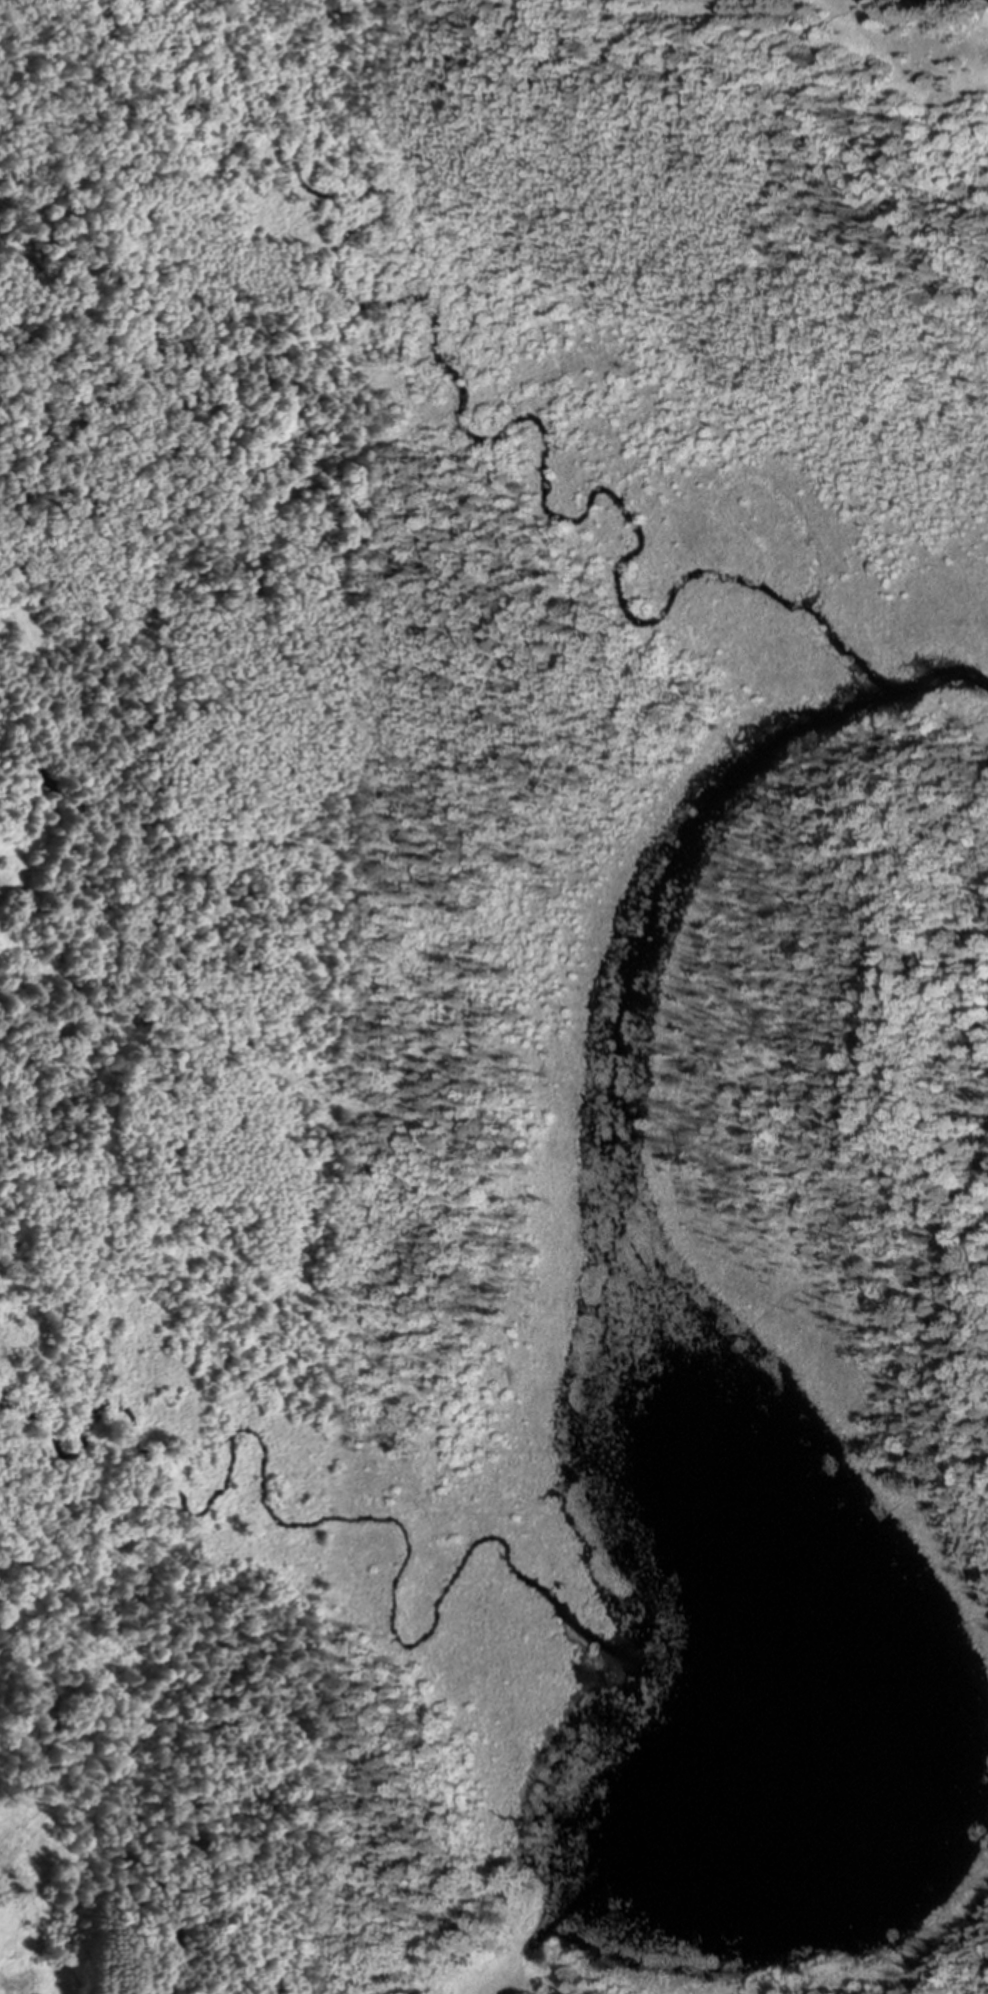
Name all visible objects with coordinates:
river: (944, 669)

